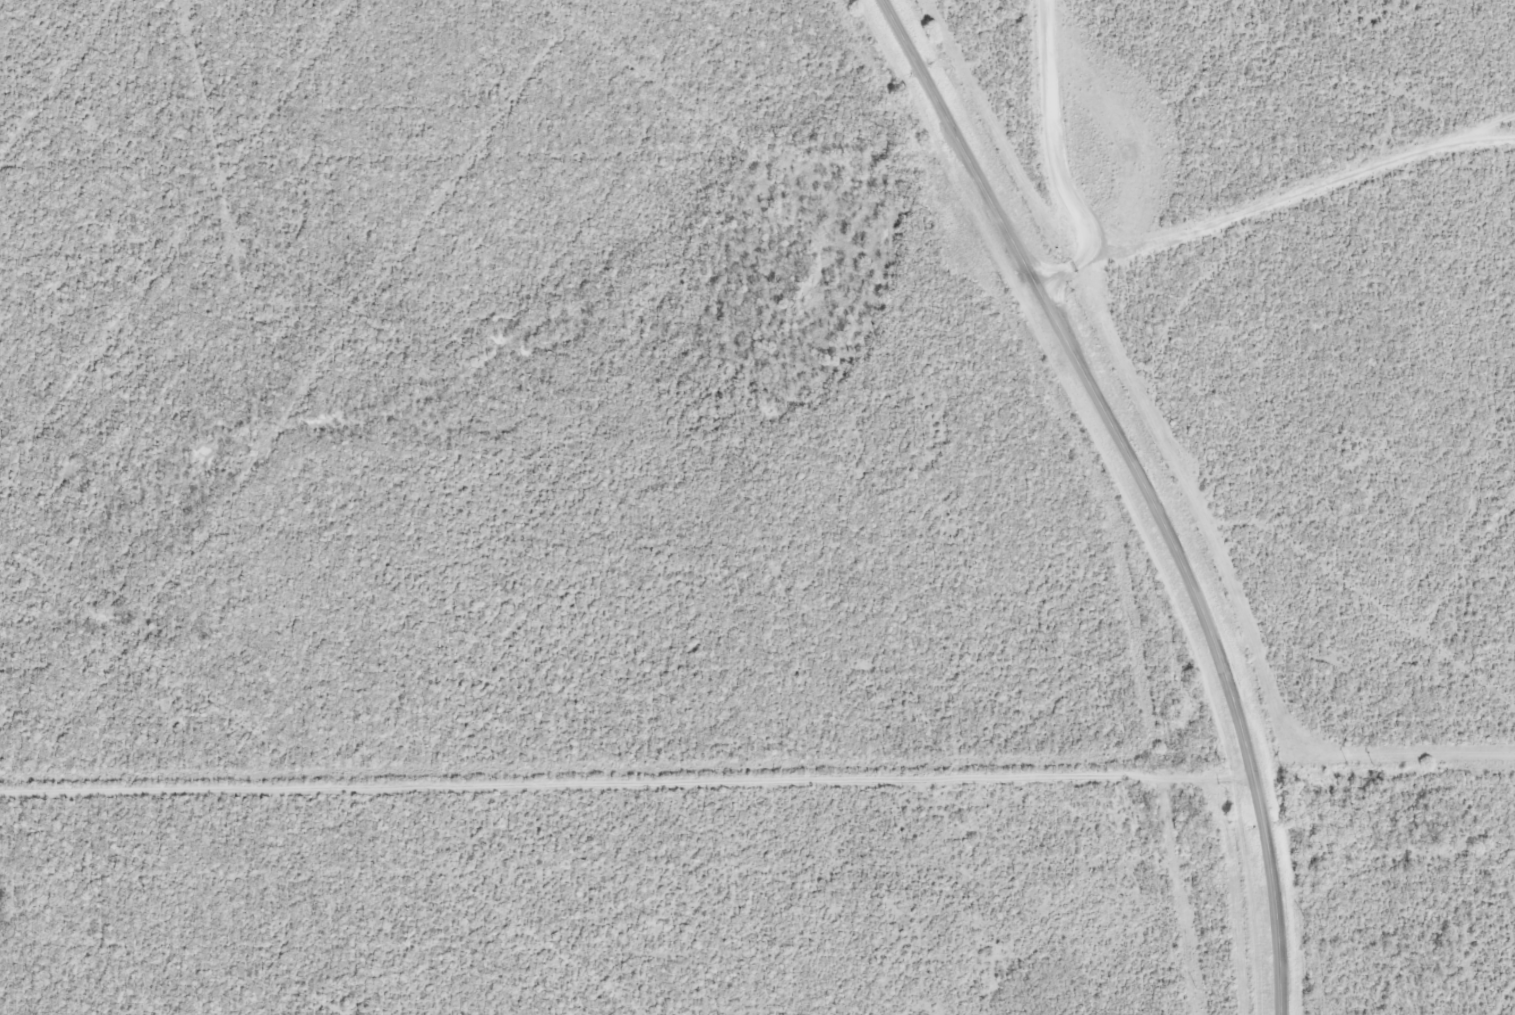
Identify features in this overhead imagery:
road: (247, 115)
road: (1077, 120)
road: (1288, 223)
road: (1141, 477)

